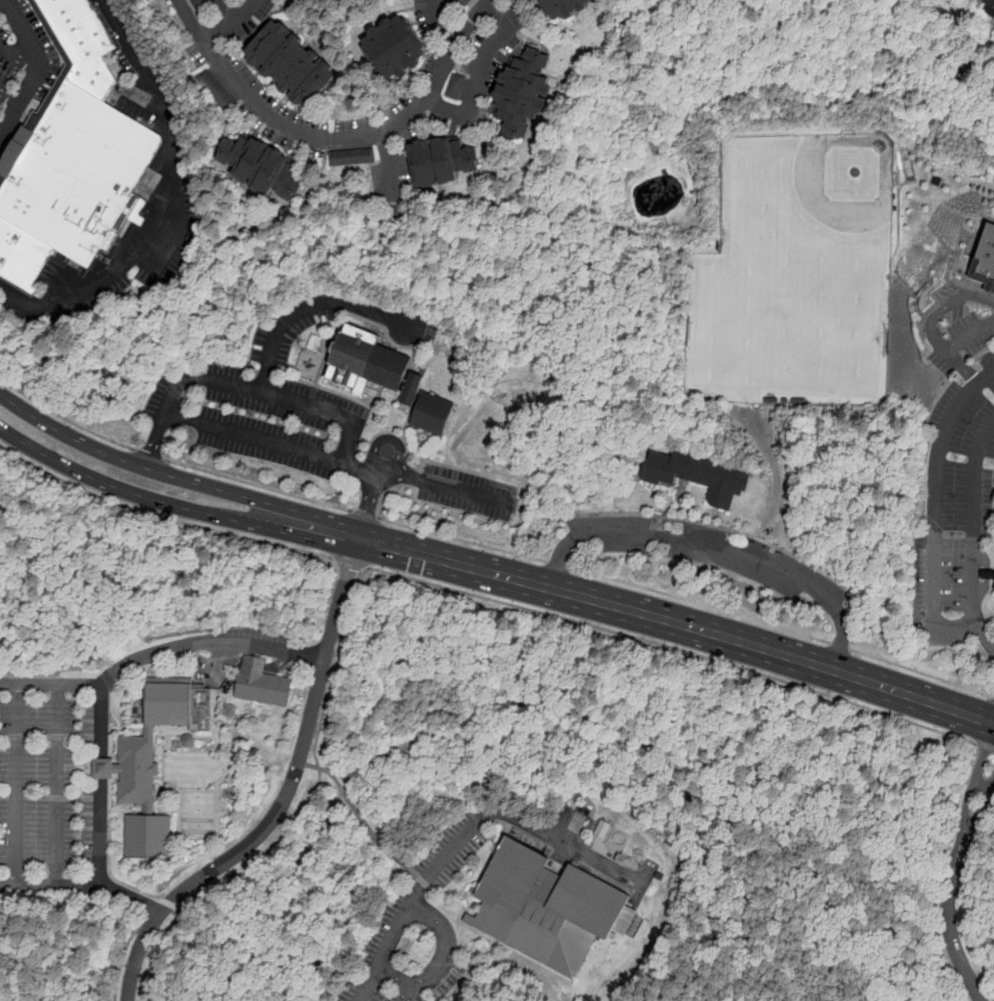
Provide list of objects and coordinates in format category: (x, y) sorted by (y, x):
building: (191, 1)
building: (468, 1)
building: (197, 3)
building: (461, 4)
building: (989, 4)
building: (563, 7)
building: (456, 9)
building: (202, 10)
road: (227, 10)
building: (514, 13)
building: (518, 20)
road: (230, 21)
road: (437, 24)
building: (522, 27)
building: (83, 43)
building: (395, 50)
road: (21, 56)
parking lot: (8, 61)
building: (290, 66)
road: (40, 71)
road: (481, 75)
building: (203, 79)
building: (458, 81)
building: (208, 84)
building: (456, 89)
building: (213, 90)
building: (218, 96)
building: (453, 96)
building: (522, 96)
road: (10, 99)
building: (223, 101)
building: (228, 107)
road: (0, 141)
road: (338, 142)
building: (371, 158)
building: (363, 159)
building: (340, 160)
building: (348, 160)
building: (356, 160)
building: (333, 161)
building: (442, 162)
building: (260, 168)
road: (389, 172)
building: (76, 173)
road: (173, 204)
park: (803, 206)
building: (21, 255)
building: (985, 259)
road: (311, 310)
road: (930, 324)
road: (966, 333)
park: (787, 338)
building: (365, 362)
road: (243, 389)
building: (432, 415)
road: (64, 417)
road: (271, 445)
road: (148, 453)
road: (393, 461)
road: (402, 465)
road: (379, 469)
road: (174, 477)
building: (699, 477)
road: (393, 479)
road: (256, 484)
road: (459, 489)
road: (171, 507)
road: (368, 509)
road: (937, 510)
road: (363, 514)
road: (159, 516)
road: (974, 524)
road: (461, 539)
road: (715, 548)
road: (992, 549)
road: (351, 562)
road: (556, 563)
building: (988, 577)
building: (993, 590)
road: (342, 600)
road: (697, 603)
road: (678, 625)
road: (983, 639)
road: (838, 645)
road: (270, 649)
road: (675, 649)
road: (155, 654)
road: (221, 657)
road: (258, 665)
road: (217, 666)
road: (920, 671)
road: (9, 683)
building: (261, 683)
road: (60, 684)
road: (133, 684)
road: (993, 696)
road: (231, 697)
building: (178, 707)
road: (215, 712)
road: (449, 720)
road: (46, 735)
road: (102, 735)
building: (186, 740)
road: (984, 748)
road: (163, 760)
building: (104, 766)
road: (66, 767)
road: (84, 767)
road: (102, 767)
road: (158, 768)
building: (135, 770)
road: (318, 771)
road: (16, 784)
road: (56, 784)
road: (102, 785)
parking lot: (53, 786)
road: (983, 787)
road: (189, 791)
park: (437, 795)
road: (971, 795)
road: (54, 796)
road: (102, 797)
road: (179, 800)
road: (217, 804)
road: (233, 807)
road: (126, 810)
road: (217, 810)
road: (278, 810)
road: (916, 813)
road: (109, 814)
park: (196, 824)
road: (975, 825)
building: (602, 828)
road: (466, 829)
building: (148, 838)
road: (378, 841)
road: (814, 841)
building: (657, 875)
road: (7, 884)
road: (58, 885)
road: (131, 898)
road: (167, 902)
road: (145, 905)
building: (546, 906)
road: (450, 918)
road: (471, 919)
road: (207, 926)
road: (488, 928)
parking lot: (419, 929)
road: (797, 930)
road: (951, 935)
road: (490, 947)
road: (124, 953)
road: (711, 953)
road: (137, 954)
road: (443, 961)
road: (473, 962)
road: (410, 991)

